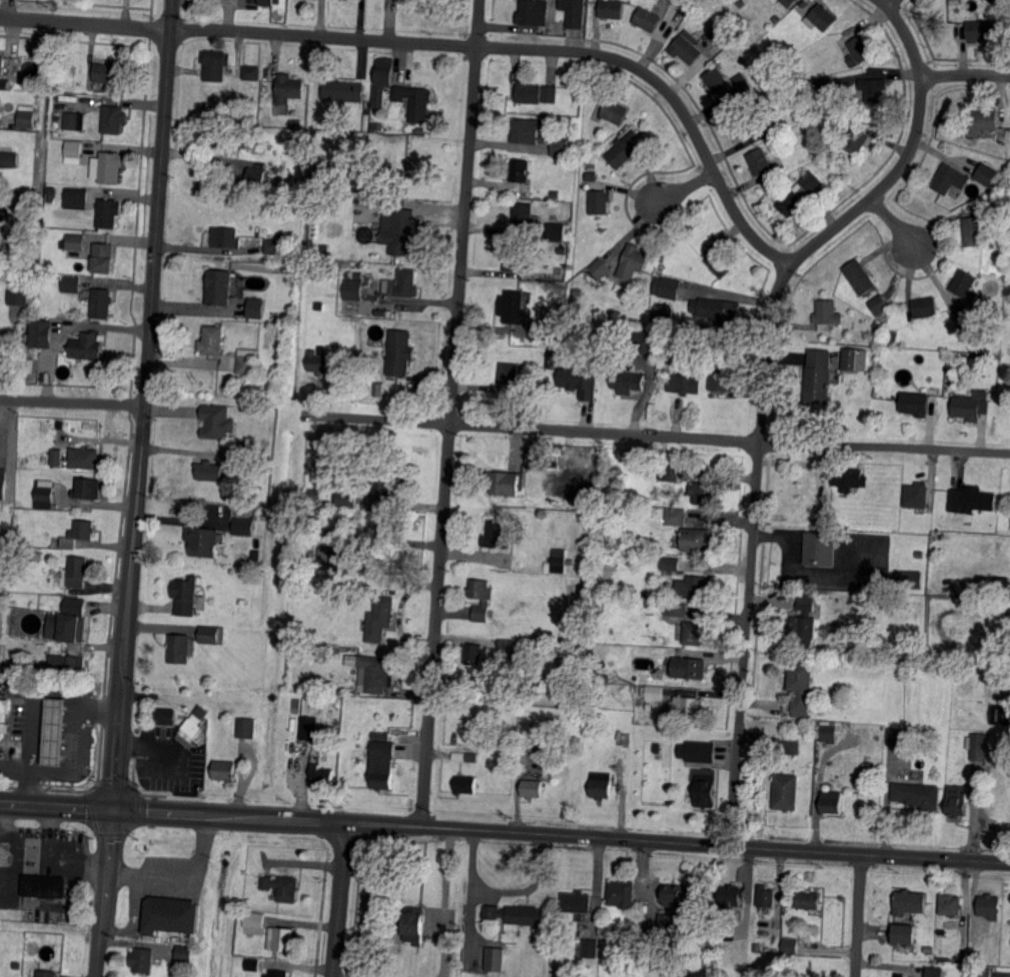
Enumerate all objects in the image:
building: (775, 0)
building: (263, 2)
building: (741, 2)
building: (682, 3)
building: (788, 3)
road: (891, 3)
building: (1003, 8)
building: (611, 9)
building: (530, 12)
building: (793, 12)
building: (821, 18)
building: (575, 19)
building: (647, 19)
building: (981, 30)
building: (719, 40)
building: (740, 42)
road: (448, 45)
building: (862, 48)
building: (686, 49)
building: (853, 61)
building: (1, 63)
building: (214, 65)
building: (384, 70)
building: (793, 71)
building: (111, 73)
building: (252, 73)
road: (965, 75)
building: (3, 83)
building: (718, 83)
building: (59, 85)
building: (825, 85)
building: (289, 87)
building: (873, 90)
building: (528, 91)
building: (344, 92)
building: (550, 94)
building: (415, 100)
building: (614, 112)
building: (114, 118)
building: (26, 119)
building: (75, 120)
building: (982, 122)
building: (376, 125)
building: (761, 125)
building: (742, 128)
building: (419, 129)
building: (525, 130)
building: (565, 133)
building: (217, 137)
building: (1001, 140)
building: (857, 141)
building: (994, 145)
building: (560, 147)
building: (770, 148)
building: (623, 151)
building: (74, 153)
building: (9, 159)
building: (759, 162)
building: (108, 167)
building: (520, 171)
building: (590, 175)
building: (985, 175)
building: (257, 177)
building: (791, 179)
building: (950, 179)
road: (685, 188)
building: (800, 193)
building: (52, 195)
building: (555, 195)
building: (75, 199)
building: (600, 201)
road: (160, 203)
building: (1005, 210)
building: (108, 212)
building: (525, 214)
building: (1006, 219)
road: (894, 222)
building: (977, 228)
building: (399, 231)
building: (557, 231)
building: (225, 238)
building: (76, 242)
building: (276, 247)
building: (325, 248)
building: (343, 249)
building: (560, 251)
building: (515, 257)
building: (103, 258)
building: (631, 261)
building: (721, 264)
building: (660, 266)
building: (347, 267)
building: (601, 268)
building: (349, 274)
building: (358, 275)
building: (860, 277)
building: (72, 284)
building: (407, 284)
building: (965, 285)
building: (667, 286)
building: (219, 287)
building: (353, 289)
building: (19, 296)
building: (102, 303)
building: (879, 304)
building: (319, 306)
building: (511, 306)
building: (256, 307)
building: (925, 307)
building: (717, 310)
building: (827, 313)
building: (273, 316)
building: (876, 323)
building: (970, 324)
building: (538, 331)
building: (995, 331)
building: (42, 332)
building: (616, 333)
building: (894, 335)
building: (607, 338)
building: (212, 341)
building: (672, 341)
building: (646, 343)
building: (87, 346)
building: (6, 350)
building: (399, 353)
building: (854, 359)
building: (247, 360)
building: (319, 362)
building: (29, 366)
building: (367, 366)
building: (509, 373)
building: (721, 377)
building: (819, 377)
building: (628, 379)
building: (579, 382)
building: (685, 383)
road: (764, 388)
road: (73, 402)
building: (914, 404)
road: (161, 407)
building: (967, 408)
road: (450, 412)
building: (215, 421)
building: (89, 426)
road: (659, 436)
building: (543, 454)
building: (249, 455)
building: (57, 457)
building: (85, 457)
building: (25, 459)
building: (609, 462)
building: (212, 471)
building: (671, 472)
building: (848, 477)
building: (503, 482)
building: (2, 483)
building: (384, 483)
building: (88, 490)
building: (314, 492)
building: (701, 493)
building: (45, 495)
building: (916, 496)
building: (346, 497)
building: (971, 500)
building: (892, 503)
building: (0, 506)
building: (676, 516)
building: (241, 524)
building: (80, 534)
building: (313, 534)
building: (497, 535)
building: (697, 538)
building: (648, 544)
building: (203, 545)
building: (820, 549)
building: (242, 550)
building: (919, 553)
building: (37, 555)
building: (331, 556)
building: (242, 559)
building: (558, 560)
building: (668, 566)
building: (78, 573)
building: (908, 578)
building: (696, 587)
building: (993, 588)
building: (1005, 589)
building: (185, 595)
building: (481, 598)
road: (124, 609)
building: (675, 610)
building: (1009, 618)
building: (380, 619)
building: (804, 620)
building: (67, 628)
building: (694, 633)
building: (213, 635)
building: (505, 644)
building: (182, 648)
building: (476, 653)
building: (875, 661)
building: (886, 661)
building: (526, 664)
building: (72, 667)
building: (691, 667)
building: (375, 673)
building: (599, 677)
building: (801, 687)
building: (636, 689)
building: (594, 691)
building: (652, 693)
road: (35, 698)
building: (686, 706)
building: (1000, 713)
building: (4, 717)
building: (164, 717)
building: (195, 725)
building: (247, 728)
building: (308, 729)
building: (55, 732)
building: (829, 733)
building: (381, 735)
building: (900, 737)
building: (524, 739)
building: (977, 745)
building: (792, 747)
building: (697, 752)
building: (472, 757)
building: (381, 765)
road: (68, 771)
building: (224, 771)
building: (960, 774)
building: (322, 776)
building: (466, 785)
building: (601, 786)
building: (532, 789)
building: (785, 791)
building: (705, 792)
building: (917, 795)
building: (832, 802)
building: (956, 802)
traffic signals: (115, 813)
road: (504, 830)
road: (177, 876)
building: (45, 886)
building: (282, 887)
road: (500, 888)
road: (102, 894)
building: (622, 894)
building: (673, 894)
building: (732, 895)
building: (767, 897)
road: (341, 899)
building: (809, 901)
road: (446, 902)
building: (910, 902)
building: (577, 904)
building: (951, 904)
building: (990, 906)
building: (516, 915)
building: (172, 916)
road: (859, 916)
building: (255, 923)
building: (413, 925)
building: (607, 929)
building: (666, 930)
building: (903, 933)
building: (760, 934)
building: (281, 939)
building: (790, 946)
building: (590, 949)
building: (962, 957)
building: (183, 958)
building: (972, 958)
building: (495, 959)
building: (143, 960)
building: (253, 964)
building: (580, 969)
building: (934, 971)
building: (980, 972)
building: (46, 973)
building: (278, 973)
road: (338, 976)

